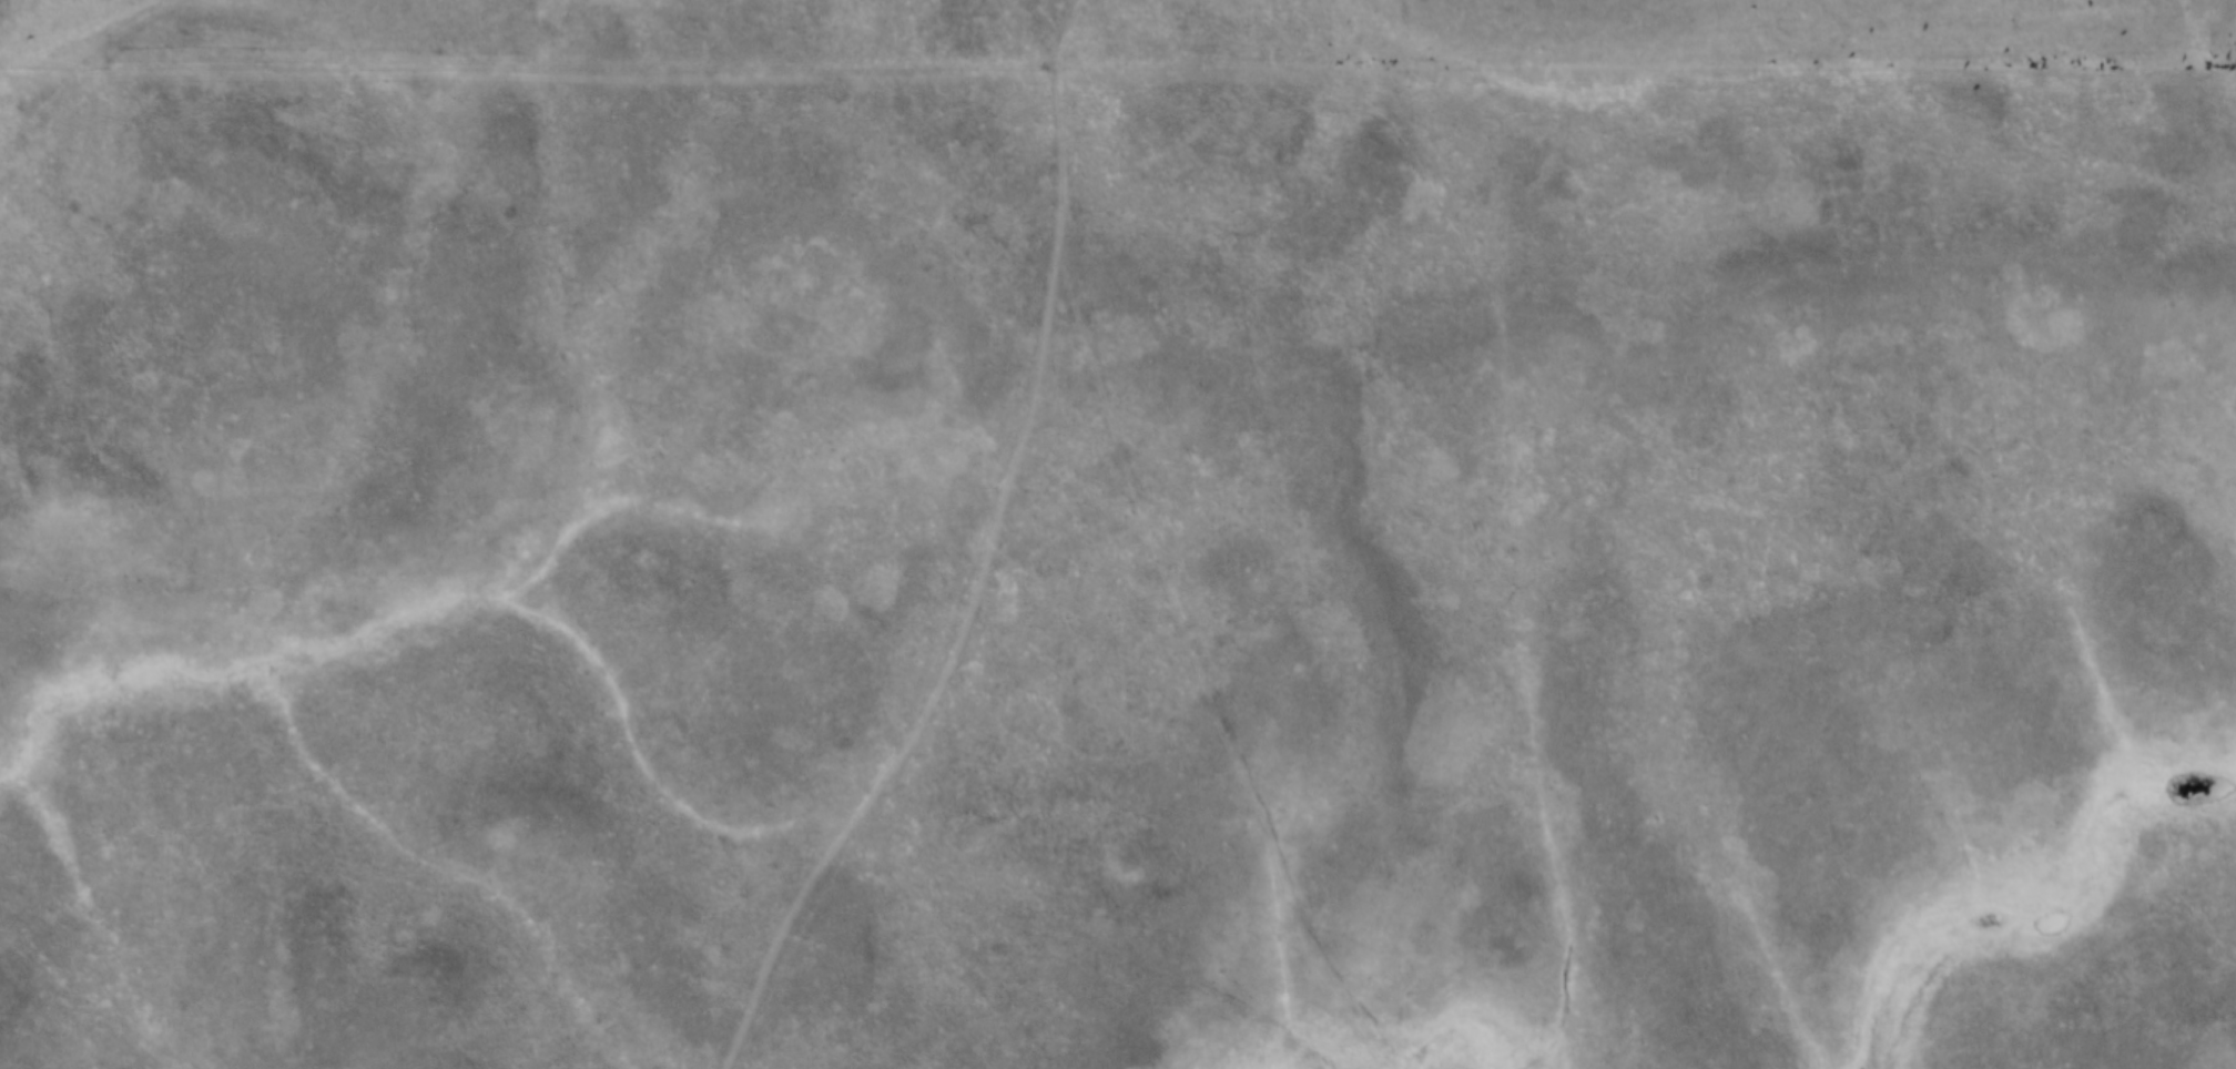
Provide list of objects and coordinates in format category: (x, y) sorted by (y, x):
road: (14, 34)
road: (1026, 452)
road: (999, 922)

